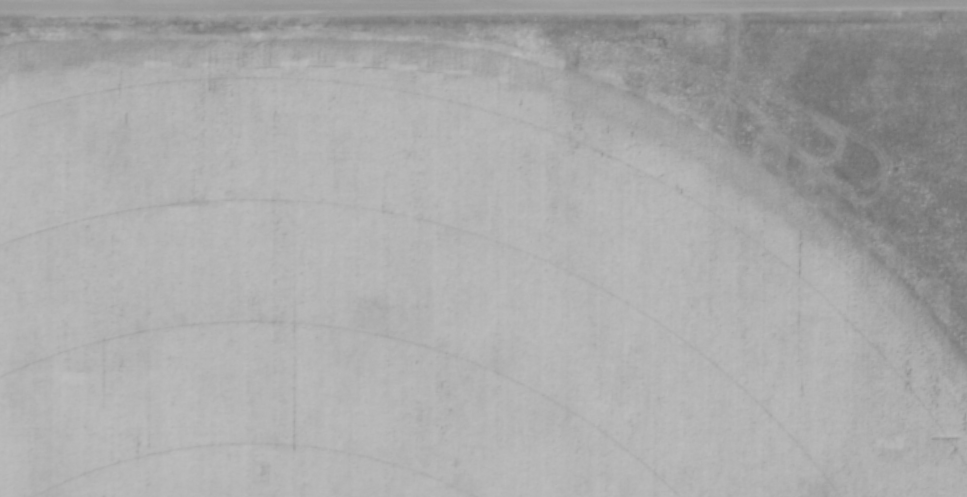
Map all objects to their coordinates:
road: (483, 6)

